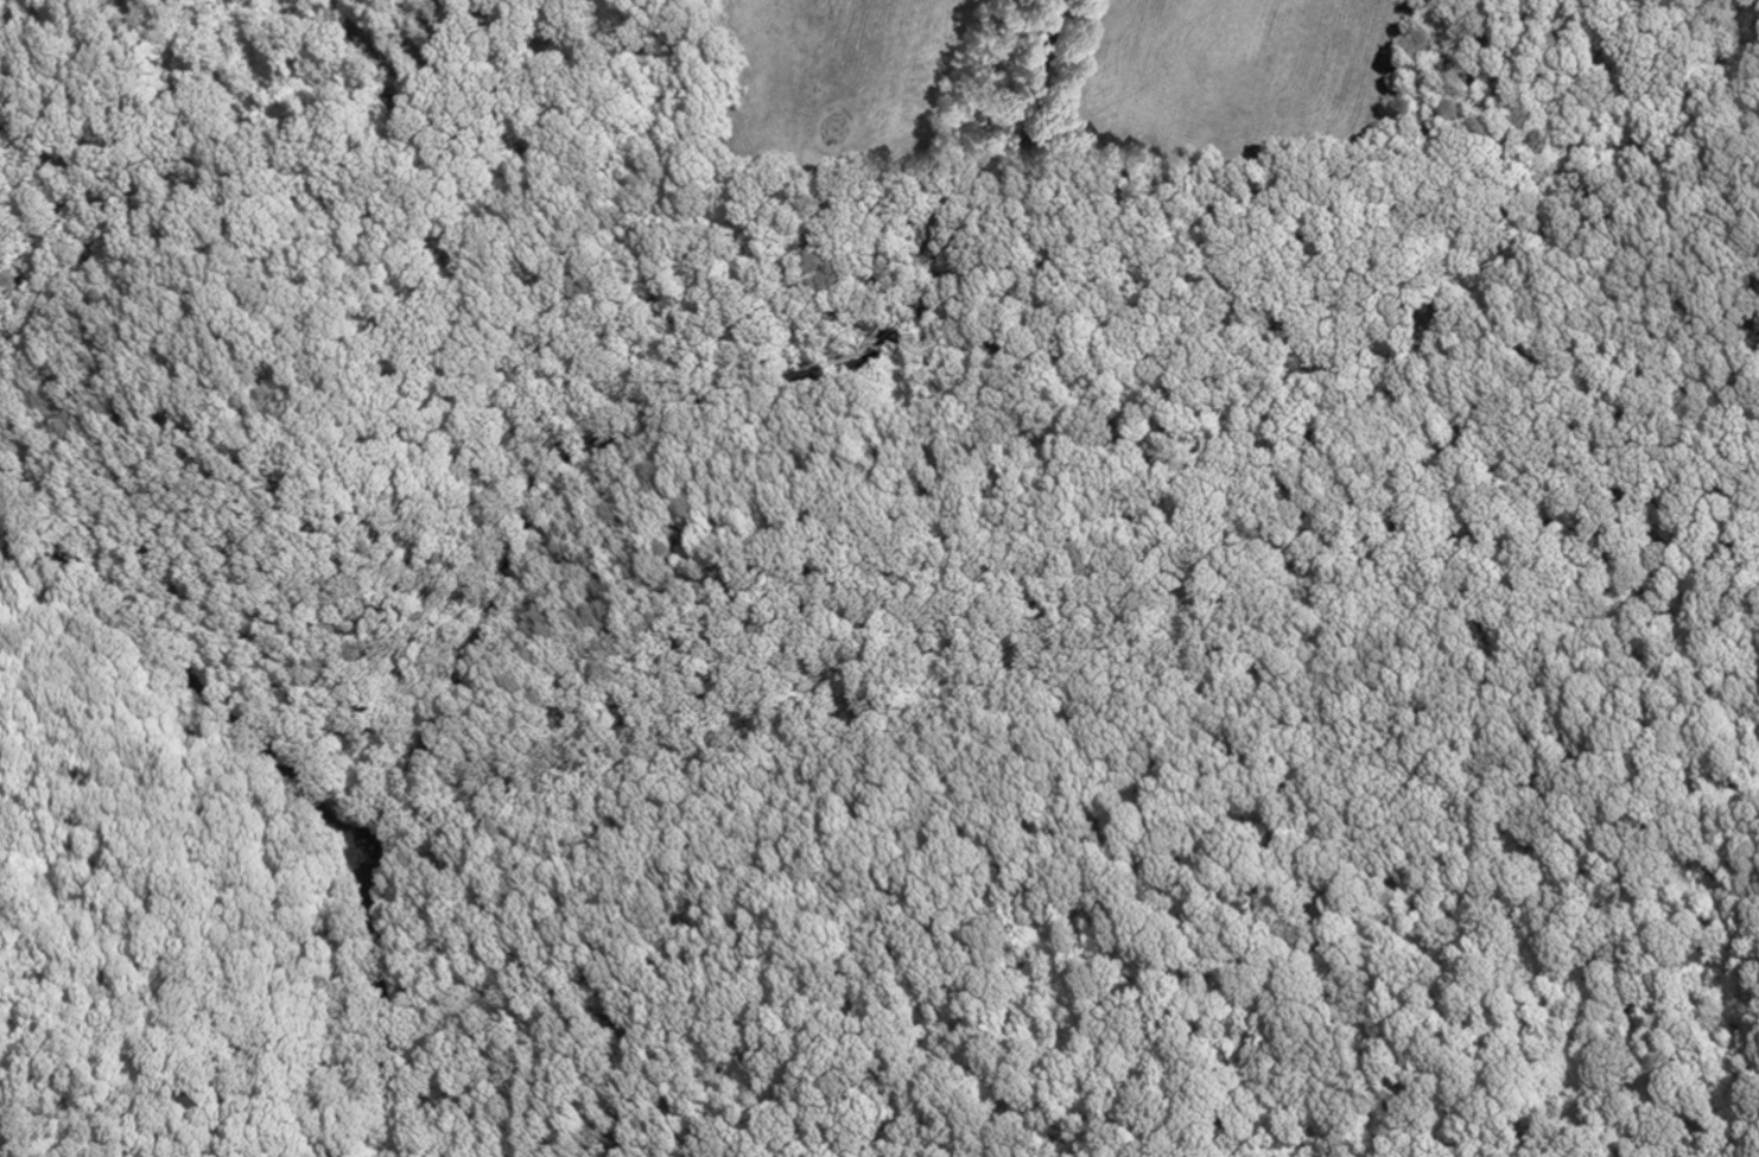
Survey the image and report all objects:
building: (434, 80)
building: (382, 95)
building: (402, 132)
road: (697, 396)
road: (183, 673)
road: (382, 1011)

